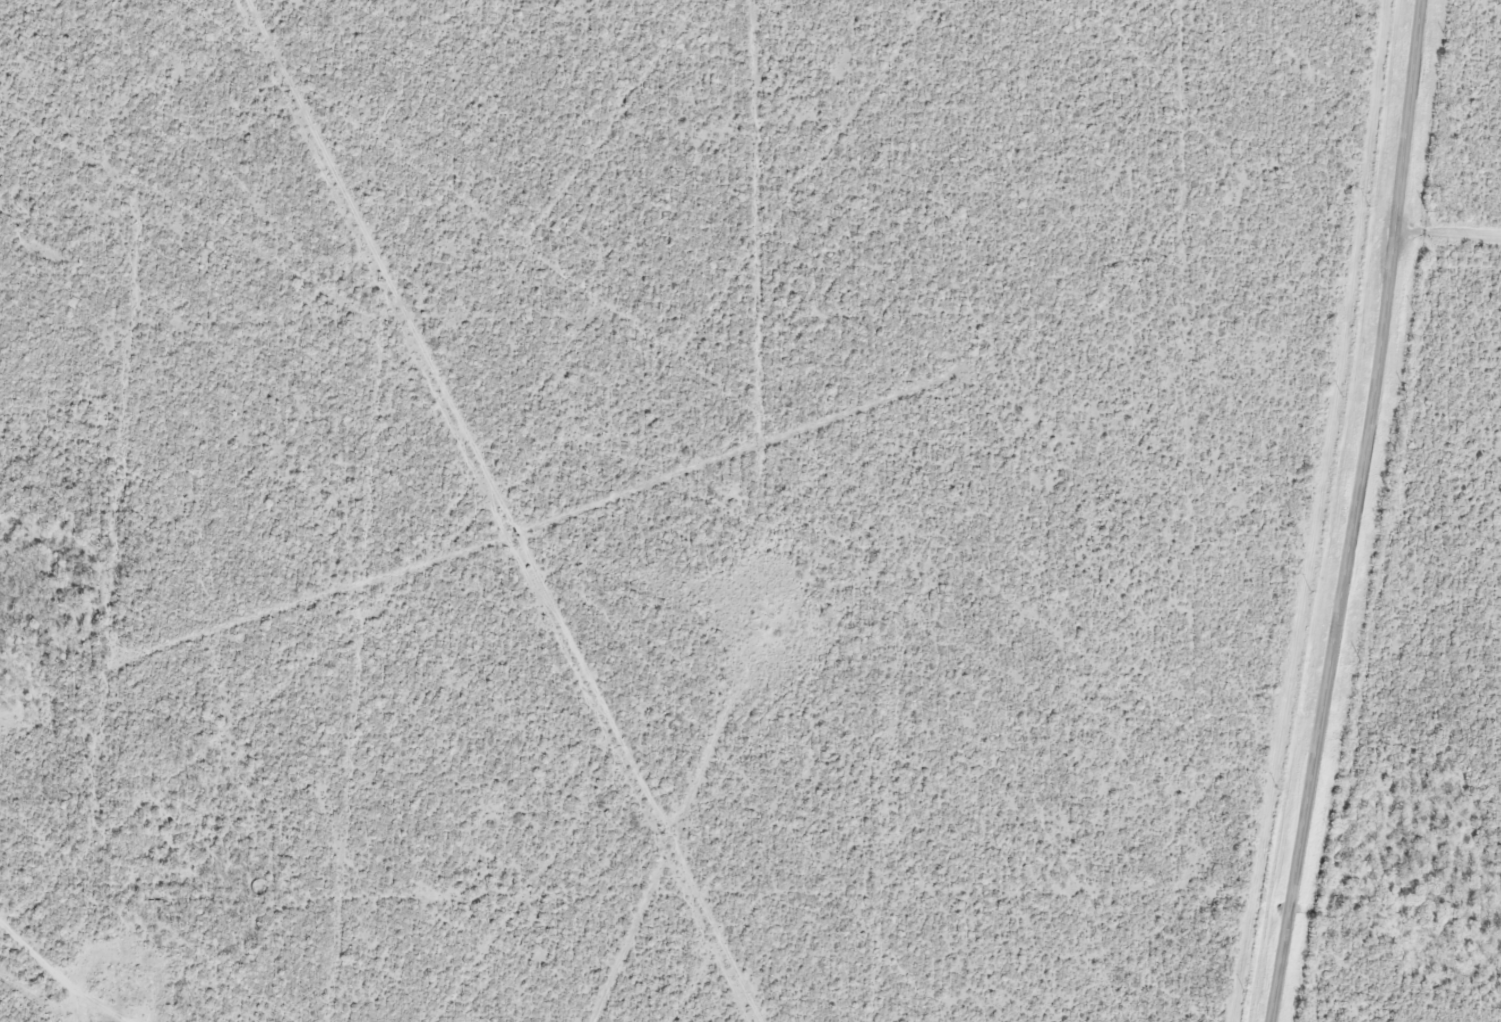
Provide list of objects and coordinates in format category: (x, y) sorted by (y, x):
road: (1457, 244)
road: (1369, 511)

